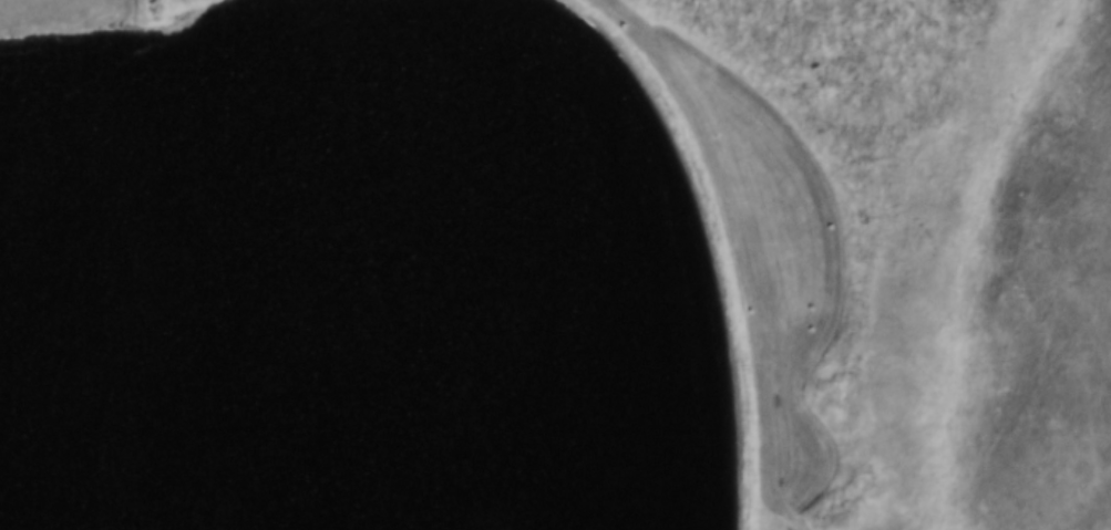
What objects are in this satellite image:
road: (801, 523)

